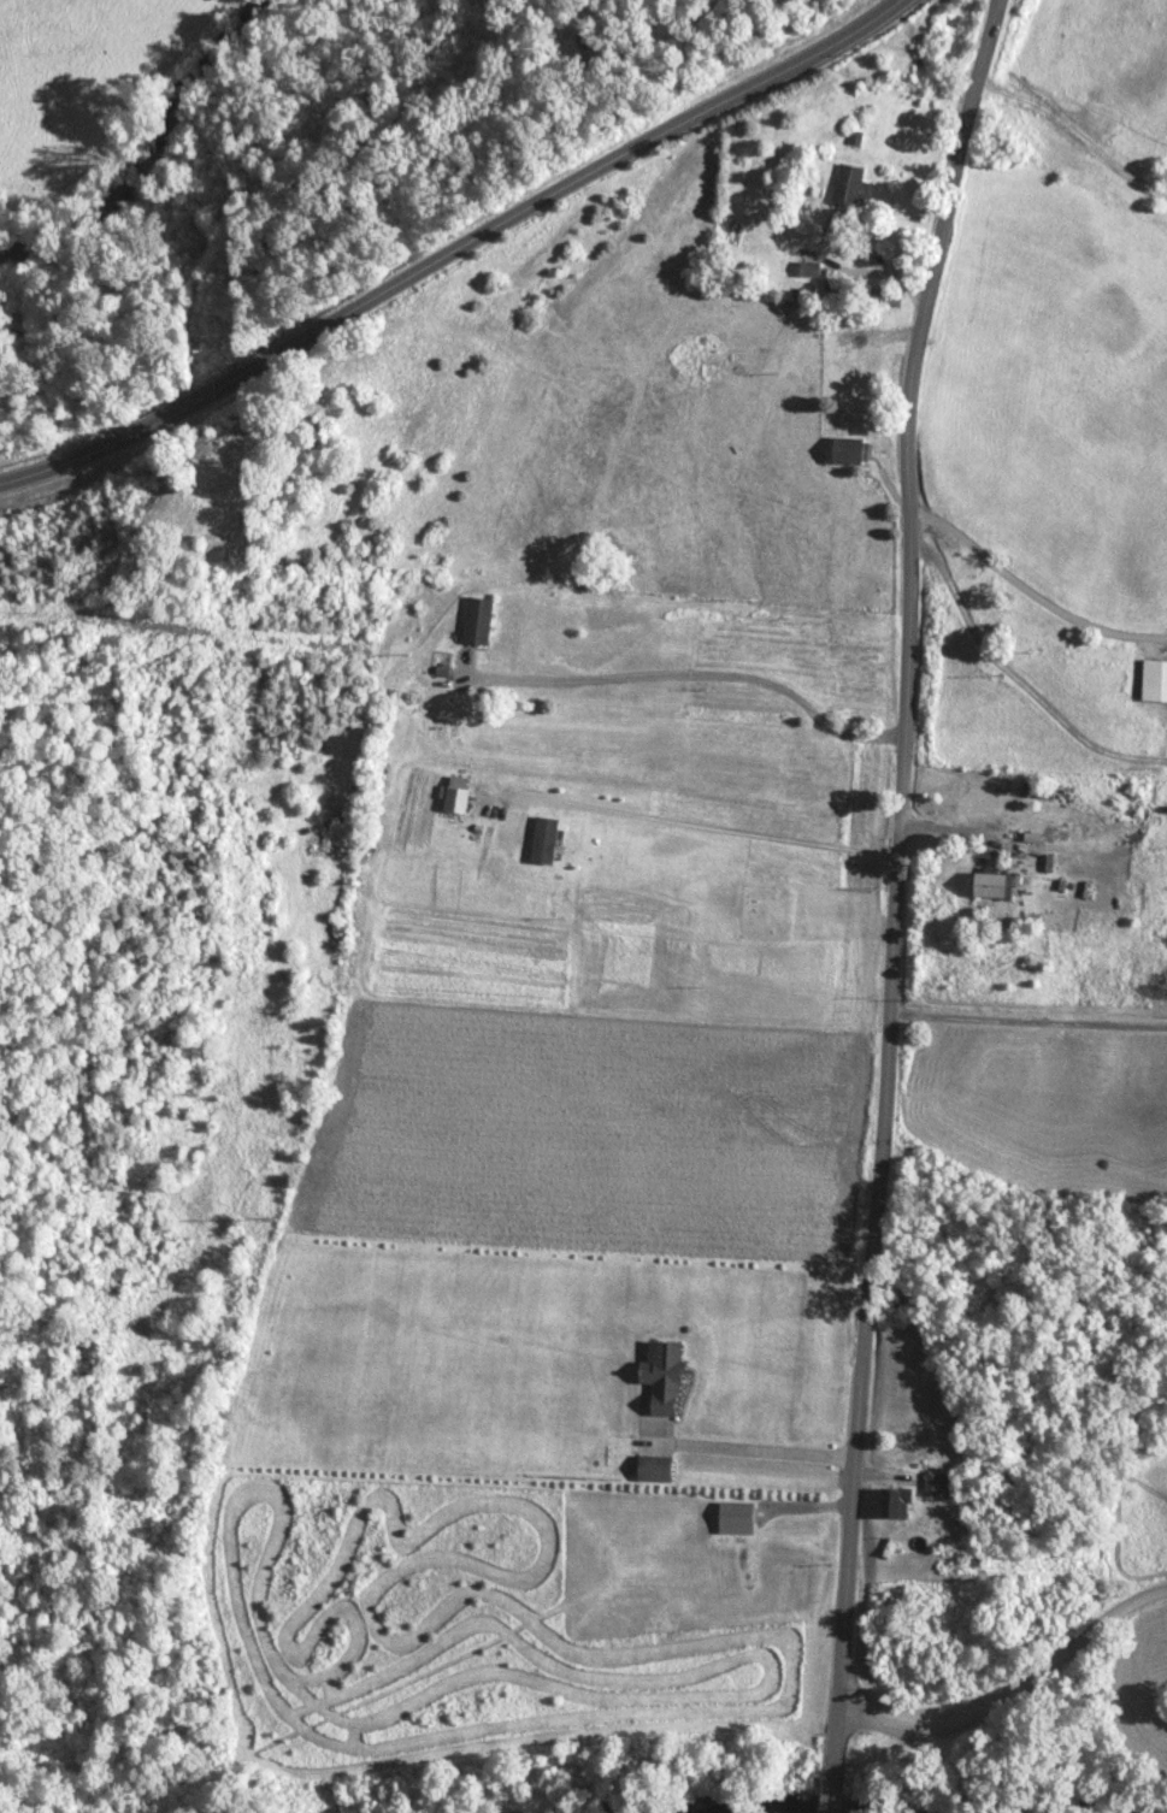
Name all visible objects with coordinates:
river: (153, 155)
building: (849, 188)
road: (458, 255)
building: (809, 271)
building: (847, 453)
power tower: (224, 461)
road: (750, 497)
building: (477, 624)
building: (1154, 684)
road: (963, 845)
road: (891, 875)
building: (989, 886)
power tower: (265, 1213)
building: (903, 1301)
building: (662, 1377)
road: (753, 1452)
building: (654, 1469)
building: (937, 1484)
building: (895, 1504)
building: (735, 1517)
road: (1019, 1691)
road: (832, 1788)

